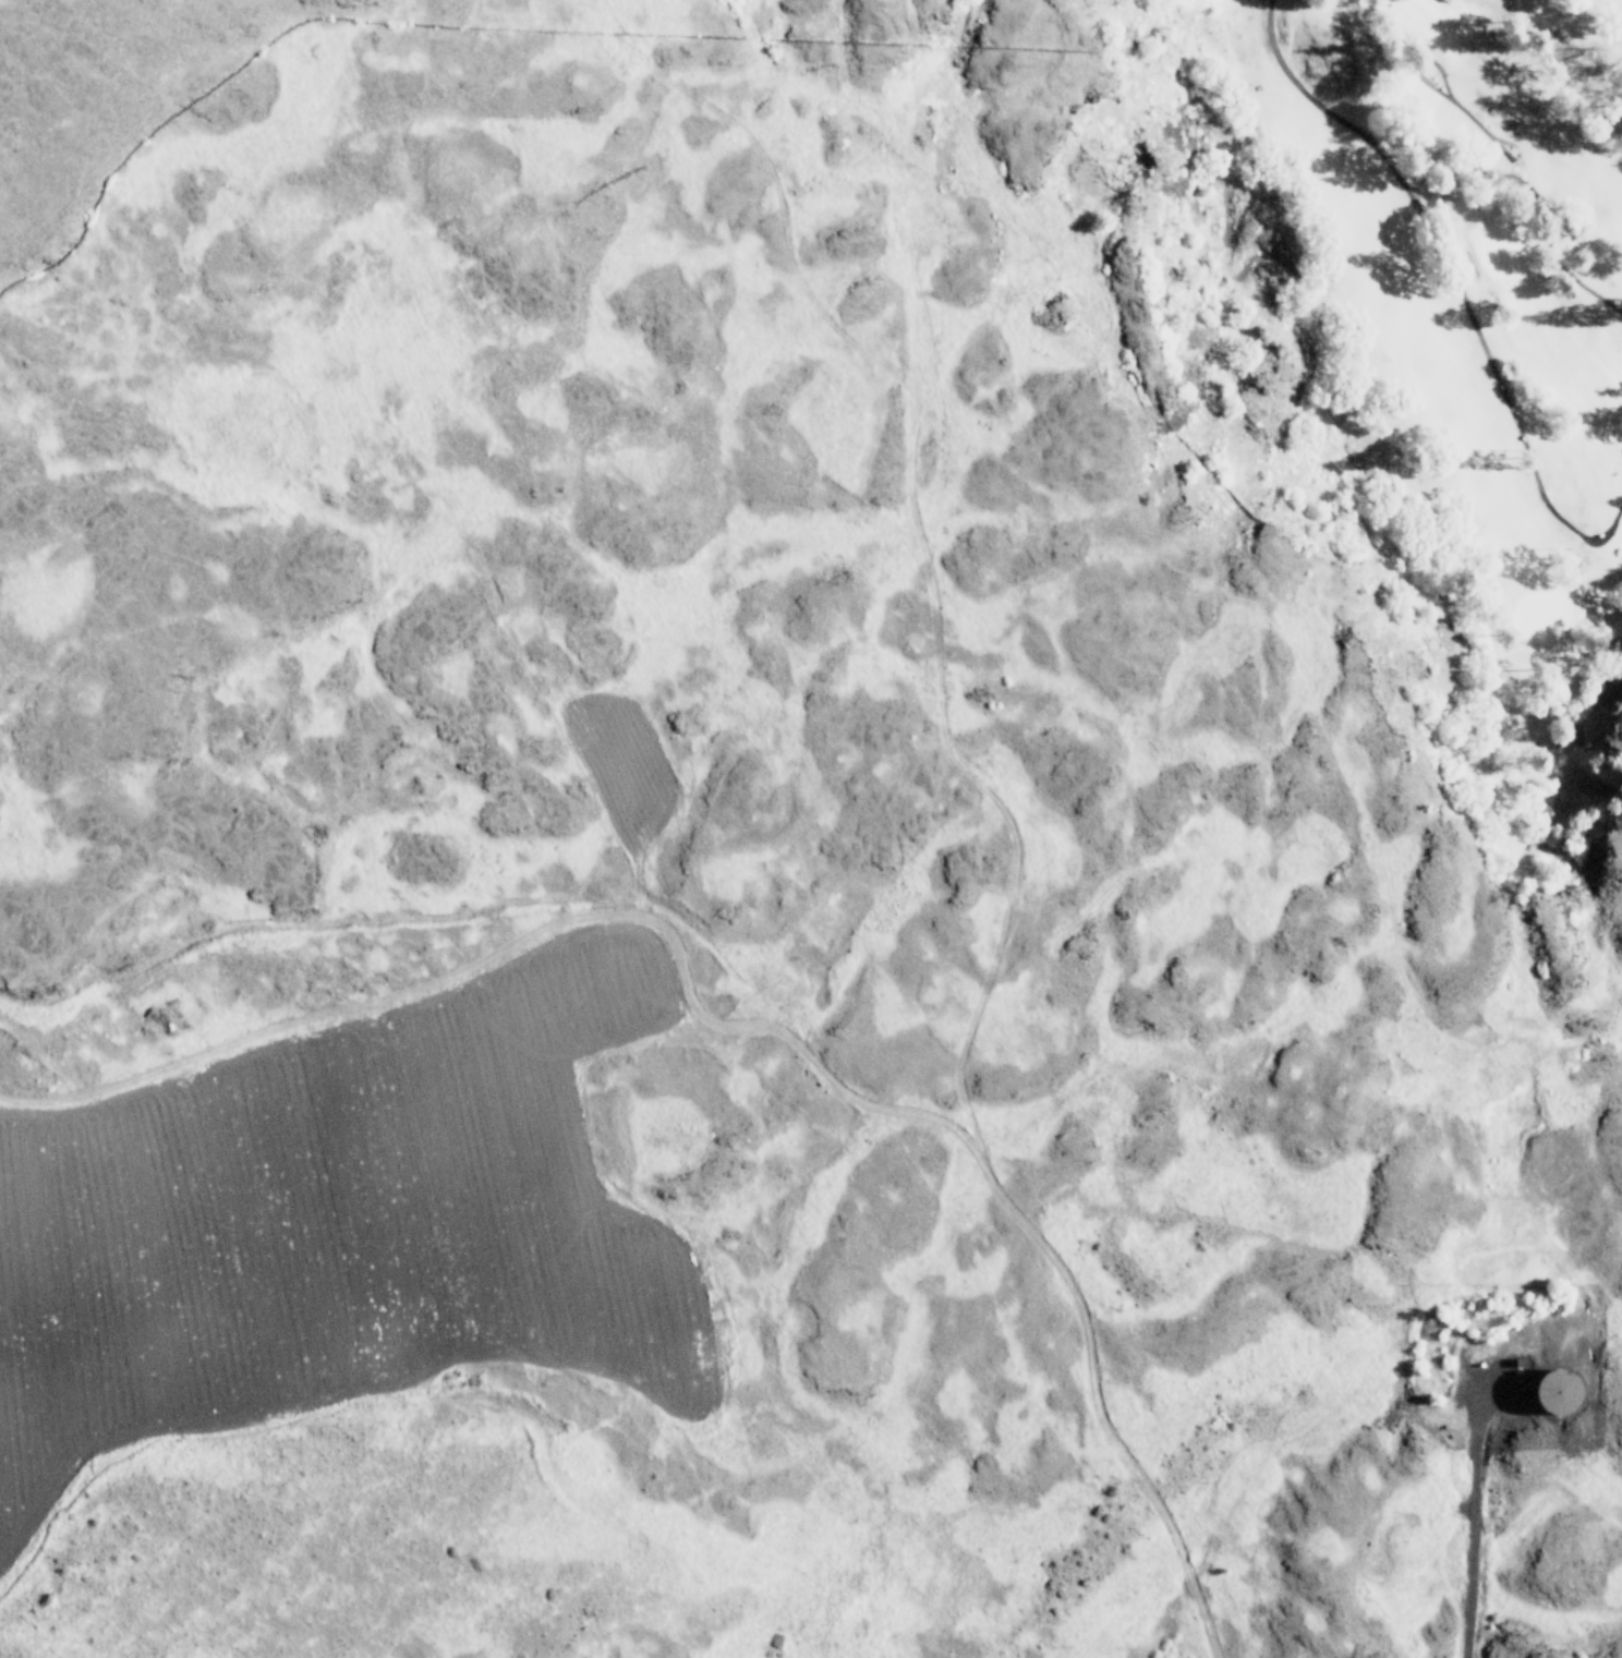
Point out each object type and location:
park: (1461, 287)
building: (1556, 1390)

